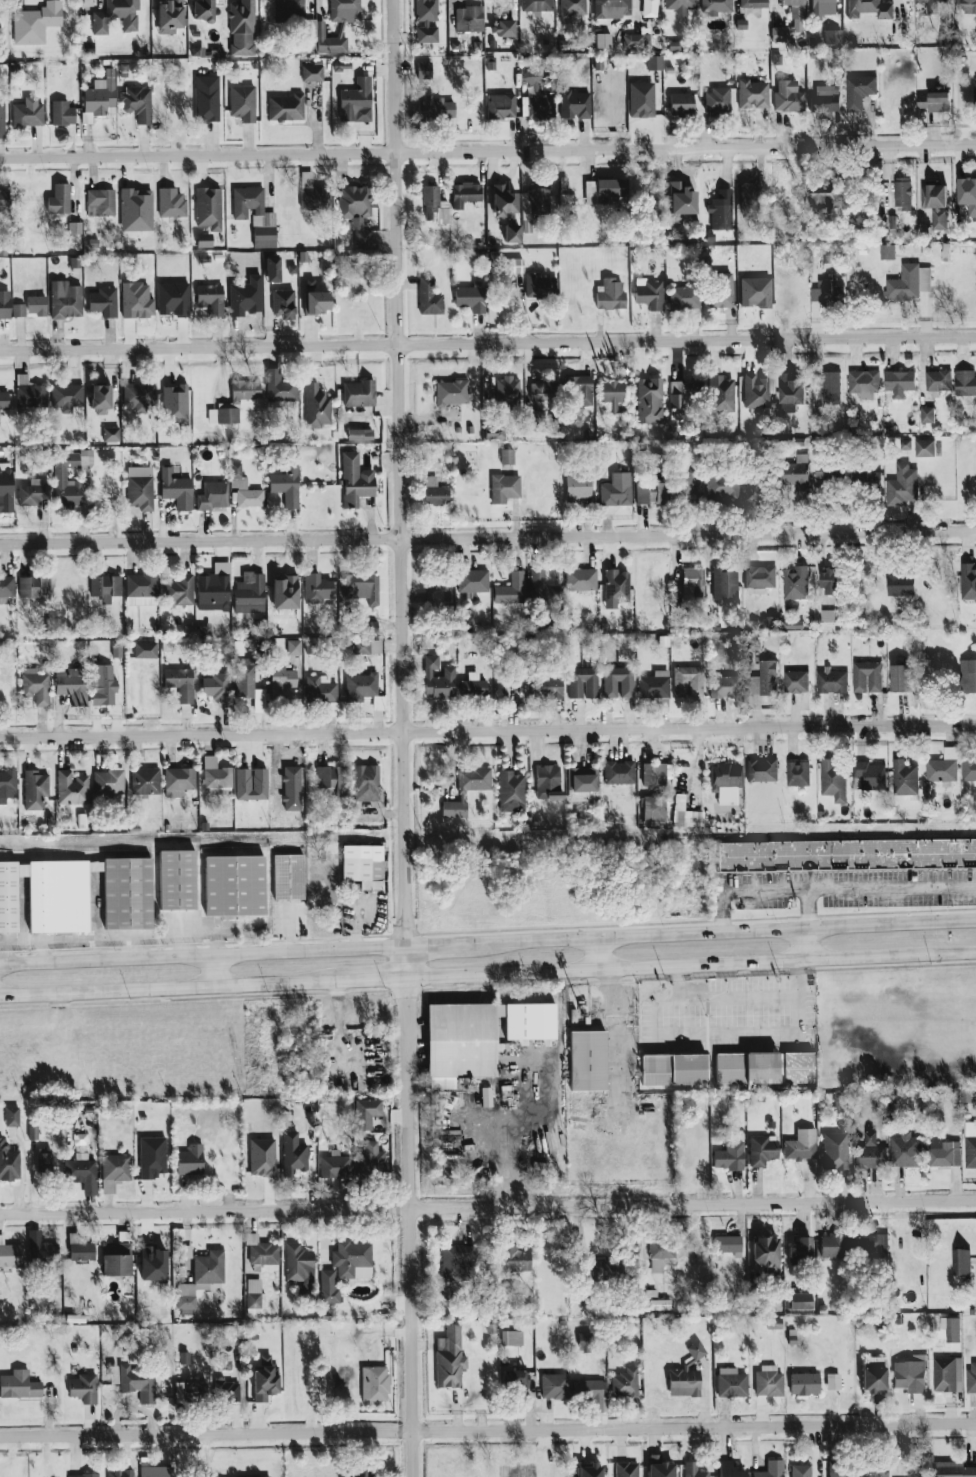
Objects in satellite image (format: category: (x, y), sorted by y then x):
building: (753, 3)
building: (930, 3)
building: (536, 5)
building: (680, 6)
building: (822, 6)
building: (715, 7)
building: (967, 7)
building: (612, 8)
building: (649, 8)
building: (794, 8)
building: (869, 9)
building: (203, 10)
building: (288, 10)
building: (344, 10)
building: (116, 16)
building: (170, 16)
building: (469, 19)
building: (426, 20)
building: (40, 23)
building: (504, 27)
building: (242, 28)
building: (780, 34)
building: (832, 36)
building: (603, 40)
building: (635, 41)
building: (654, 62)
building: (424, 70)
building: (312, 73)
building: (859, 92)
building: (974, 92)
building: (753, 94)
building: (100, 95)
building: (538, 97)
building: (788, 97)
building: (206, 98)
building: (825, 99)
building: (641, 100)
building: (356, 101)
building: (718, 101)
building: (935, 101)
building: (137, 103)
building: (242, 103)
building: (681, 103)
building: (575, 104)
building: (501, 106)
building: (286, 107)
building: (435, 108)
building: (28, 112)
building: (62, 113)
building: (2, 118)
road: (488, 152)
building: (603, 190)
building: (313, 194)
building: (465, 194)
building: (903, 194)
building: (566, 195)
building: (752, 196)
building: (682, 198)
building: (967, 198)
building: (59, 199)
building: (354, 200)
building: (503, 200)
building: (538, 201)
building: (822, 201)
building: (4, 202)
building: (100, 202)
building: (171, 203)
building: (935, 203)
building: (434, 205)
building: (208, 208)
building: (136, 209)
building: (255, 215)
building: (720, 216)
building: (75, 228)
building: (361, 233)
building: (512, 233)
building: (887, 252)
building: (515, 265)
building: (272, 268)
building: (909, 283)
building: (541, 285)
building: (723, 289)
building: (755, 292)
building: (610, 294)
building: (650, 294)
building: (830, 295)
building: (429, 297)
building: (470, 298)
building: (684, 298)
building: (173, 299)
building: (210, 299)
building: (65, 300)
building: (104, 301)
building: (316, 302)
building: (5, 304)
building: (36, 305)
building: (283, 305)
building: (18, 310)
road: (488, 344)
building: (938, 381)
building: (899, 383)
building: (864, 384)
building: (965, 385)
building: (279, 386)
building: (582, 389)
building: (831, 389)
building: (507, 390)
building: (543, 391)
building: (756, 391)
building: (30, 392)
building: (451, 392)
building: (358, 393)
building: (791, 393)
building: (721, 394)
building: (67, 396)
building: (613, 396)
building: (139, 397)
building: (100, 398)
building: (682, 398)
building: (4, 400)
building: (235, 401)
building: (650, 401)
building: (175, 405)
building: (316, 406)
building: (926, 415)
building: (111, 434)
building: (360, 434)
building: (925, 448)
building: (506, 456)
building: (60, 473)
building: (797, 473)
building: (830, 473)
building: (870, 479)
building: (355, 480)
building: (286, 486)
building: (902, 486)
building: (6, 487)
building: (140, 487)
building: (679, 487)
building: (723, 487)
building: (175, 488)
building: (504, 488)
building: (578, 488)
building: (244, 489)
building: (616, 490)
building: (34, 492)
building: (435, 492)
building: (641, 493)
building: (651, 493)
building: (213, 495)
road: (487, 540)
building: (759, 577)
building: (581, 579)
building: (472, 581)
building: (832, 582)
building: (968, 582)
building: (693, 583)
building: (795, 583)
building: (724, 584)
building: (900, 584)
building: (34, 586)
building: (105, 587)
building: (616, 587)
building: (6, 588)
building: (215, 588)
building: (317, 588)
building: (361, 588)
building: (543, 588)
building: (511, 589)
building: (141, 590)
building: (180, 590)
building: (284, 592)
building: (440, 592)
building: (250, 593)
road: (405, 604)
building: (832, 616)
building: (367, 646)
building: (294, 647)
building: (145, 650)
building: (968, 676)
building: (867, 677)
building: (244, 678)
building: (900, 678)
building: (281, 679)
building: (438, 680)
building: (765, 680)
building: (832, 681)
building: (618, 682)
building: (687, 682)
building: (796, 682)
building: (180, 683)
building: (583, 683)
building: (72, 685)
building: (103, 685)
building: (472, 685)
building: (654, 685)
building: (361, 686)
building: (722, 686)
building: (36, 687)
building: (217, 687)
building: (546, 687)
building: (320, 689)
road: (487, 731)
building: (942, 768)
building: (761, 770)
building: (968, 770)
building: (619, 772)
building: (216, 774)
building: (655, 774)
building: (798, 774)
building: (869, 777)
building: (904, 778)
building: (332, 779)
building: (833, 780)
building: (108, 781)
building: (145, 781)
building: (178, 781)
building: (366, 782)
building: (548, 782)
building: (726, 782)
building: (251, 784)
building: (582, 784)
building: (7, 785)
building: (71, 788)
building: (34, 789)
building: (467, 789)
building: (511, 791)
building: (654, 808)
building: (712, 853)
building: (847, 855)
building: (363, 865)
building: (288, 877)
building: (177, 878)
building: (235, 885)
road: (829, 888)
building: (78, 894)
road: (805, 909)
road: (719, 933)
road: (435, 945)
road: (806, 945)
road: (598, 954)
road: (204, 956)
road: (692, 966)
road: (216, 971)
road: (375, 980)
road: (170, 989)
road: (730, 1003)
building: (479, 1035)
building: (587, 1061)
building: (746, 1068)
building: (797, 1068)
building: (673, 1069)
building: (486, 1097)
building: (366, 1113)
building: (12, 1116)
building: (801, 1145)
building: (970, 1145)
building: (762, 1150)
building: (835, 1151)
building: (906, 1151)
building: (293, 1154)
building: (872, 1154)
building: (944, 1155)
building: (729, 1156)
building: (152, 1157)
building: (262, 1157)
building: (371, 1159)
building: (190, 1160)
building: (9, 1163)
building: (47, 1163)
building: (335, 1166)
building: (114, 1171)
road: (487, 1207)
building: (727, 1244)
building: (834, 1246)
building: (872, 1246)
building: (80, 1248)
building: (42, 1250)
building: (801, 1250)
building: (261, 1251)
building: (765, 1252)
building: (661, 1253)
building: (10, 1254)
building: (513, 1258)
building: (117, 1259)
building: (352, 1260)
building: (457, 1261)
building: (961, 1262)
building: (153, 1263)
building: (299, 1264)
building: (606, 1270)
building: (201, 1277)
building: (328, 1286)
building: (254, 1293)
building: (798, 1301)
building: (234, 1331)
building: (511, 1338)
road: (412, 1342)
building: (583, 1342)
building: (696, 1350)
building: (449, 1358)
building: (911, 1375)
building: (947, 1375)
building: (514, 1378)
building: (971, 1378)
building: (264, 1379)
building: (874, 1380)
building: (769, 1381)
building: (833, 1381)
building: (684, 1382)
building: (137, 1383)
building: (374, 1383)
building: (625, 1383)
building: (731, 1383)
building: (804, 1384)
building: (19, 1385)
building: (555, 1386)
building: (224, 1387)
building: (84, 1388)
building: (187, 1391)
road: (488, 1430)
building: (660, 1467)
building: (626, 1469)
building: (729, 1469)
building: (771, 1469)
building: (838, 1469)
building: (590, 1470)
building: (693, 1470)
building: (801, 1470)
building: (874, 1470)
building: (955, 1470)
building: (120, 1473)
building: (358, 1473)
building: (83, 1475)

